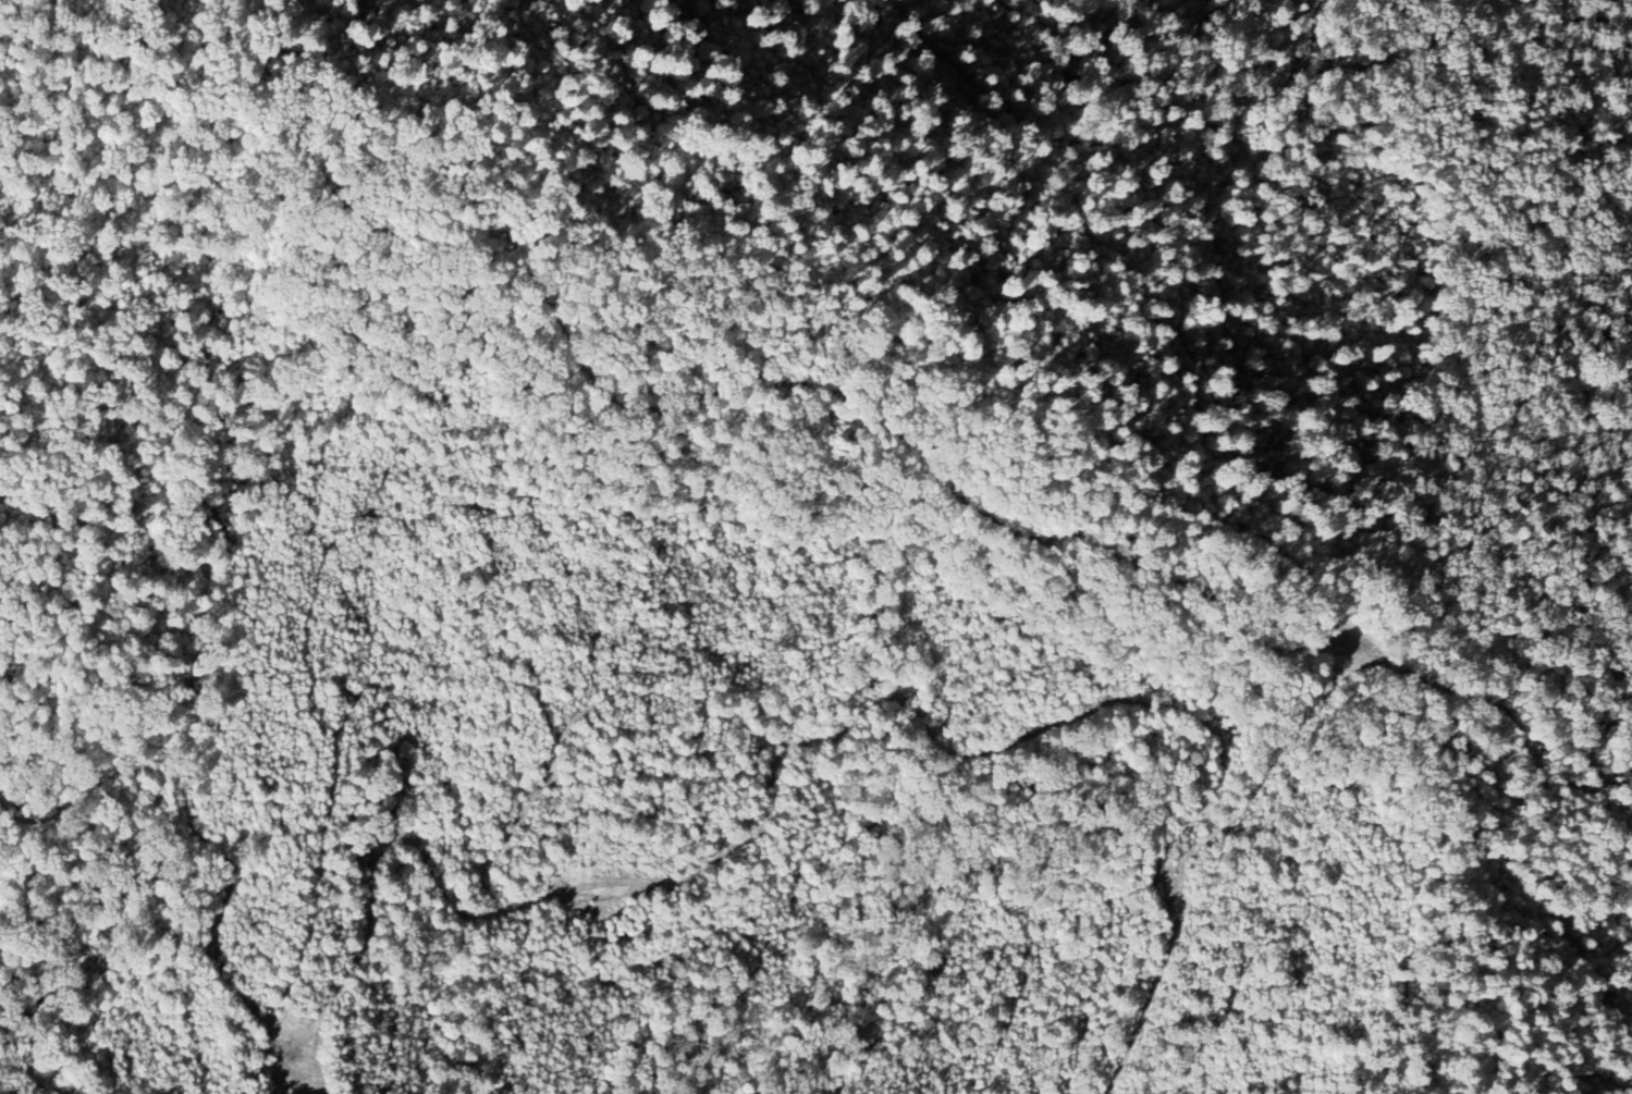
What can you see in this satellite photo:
road: (1361, 669)
road: (743, 836)
road: (1316, 956)
road: (1269, 972)

